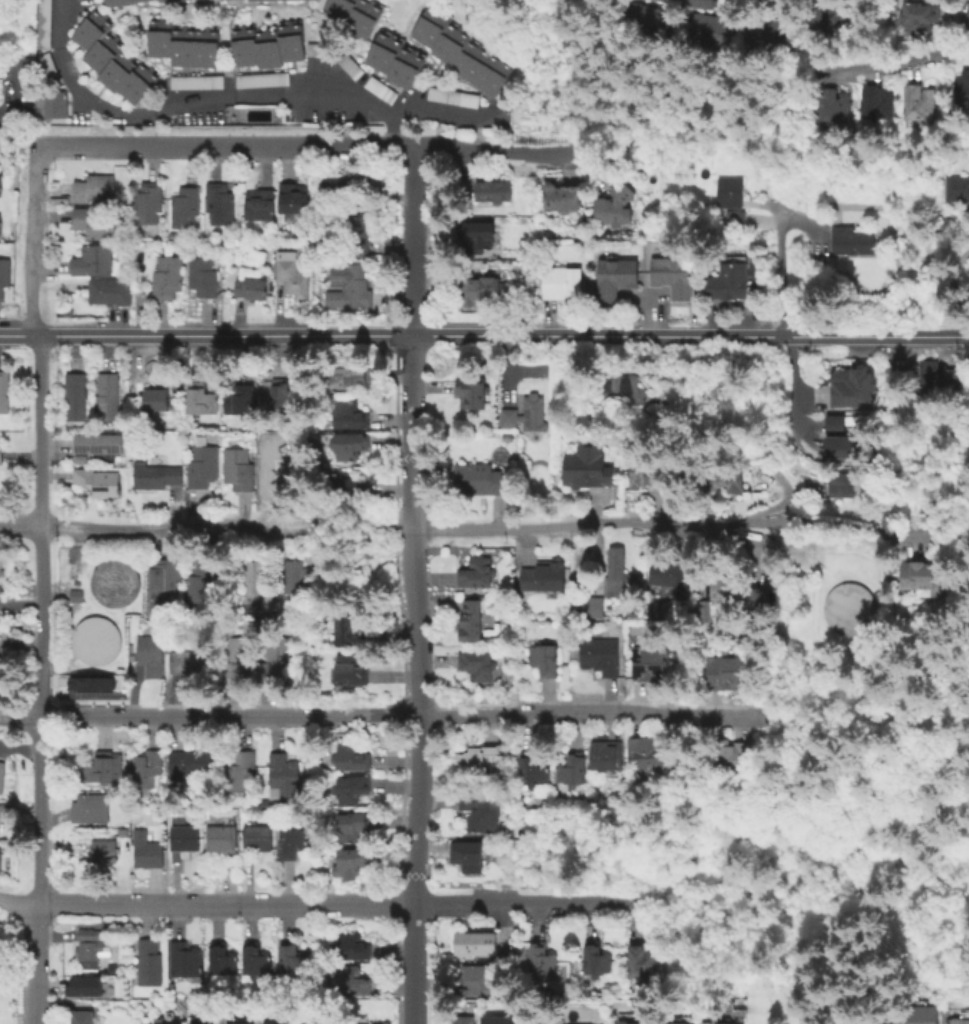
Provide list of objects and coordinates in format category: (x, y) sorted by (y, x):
building: (134, 0)
building: (161, 0)
building: (229, 0)
building: (670, 1)
building: (122, 2)
building: (768, 2)
building: (109, 3)
building: (698, 3)
building: (327, 7)
building: (340, 10)
building: (842, 13)
building: (353, 15)
building: (631, 15)
building: (832, 15)
building: (822, 17)
building: (919, 17)
building: (812, 18)
building: (365, 19)
building: (641, 19)
building: (421, 21)
building: (650, 21)
building: (41, 23)
building: (661, 23)
building: (84, 25)
building: (695, 26)
building: (432, 28)
building: (706, 29)
building: (715, 30)
building: (726, 31)
building: (93, 33)
building: (785, 33)
building: (754, 35)
building: (764, 35)
building: (774, 35)
building: (152, 37)
building: (163, 38)
building: (441, 39)
building: (296, 41)
building: (284, 42)
building: (248, 45)
building: (237, 46)
building: (453, 46)
building: (375, 47)
building: (96, 48)
building: (175, 48)
building: (186, 48)
building: (261, 48)
building: (272, 48)
building: (198, 49)
building: (210, 49)
building: (315, 49)
building: (387, 53)
building: (105, 55)
building: (463, 56)
road: (904, 62)
building: (397, 63)
building: (474, 64)
building: (44, 65)
building: (110, 66)
building: (350, 67)
building: (409, 69)
building: (485, 70)
building: (119, 74)
building: (498, 77)
building: (130, 78)
building: (259, 79)
building: (194, 82)
building: (139, 86)
building: (378, 89)
road: (7, 92)
building: (962, 93)
building: (449, 96)
road: (199, 100)
building: (918, 101)
building: (834, 106)
building: (878, 107)
building: (57, 108)
road: (433, 111)
road: (306, 148)
road: (409, 182)
building: (1, 184)
building: (94, 187)
building: (335, 188)
building: (957, 188)
building: (491, 190)
building: (731, 194)
building: (293, 195)
building: (557, 195)
building: (219, 202)
building: (259, 202)
building: (148, 203)
building: (613, 205)
building: (185, 206)
building: (737, 220)
building: (93, 223)
building: (357, 234)
building: (474, 235)
road: (32, 241)
building: (853, 243)
building: (91, 259)
road: (780, 271)
building: (4, 273)
building: (292, 273)
road: (411, 275)
building: (613, 275)
building: (670, 275)
building: (203, 276)
building: (167, 277)
building: (727, 280)
building: (559, 282)
building: (350, 285)
building: (253, 287)
building: (483, 289)
building: (109, 290)
road: (484, 334)
building: (346, 375)
building: (935, 375)
road: (792, 382)
building: (849, 386)
building: (622, 389)
building: (3, 391)
building: (472, 393)
building: (285, 394)
building: (75, 395)
building: (107, 395)
building: (203, 398)
building: (240, 399)
building: (154, 404)
building: (350, 414)
building: (534, 415)
building: (837, 437)
building: (97, 441)
building: (351, 444)
building: (0, 453)
building: (585, 465)
building: (202, 467)
building: (298, 470)
building: (642, 470)
building: (238, 471)
building: (155, 474)
building: (485, 479)
building: (725, 479)
building: (96, 481)
building: (841, 485)
building: (348, 486)
road: (662, 524)
road: (205, 529)
building: (478, 572)
building: (256, 575)
building: (670, 575)
building: (165, 576)
building: (300, 576)
building: (542, 576)
building: (618, 577)
building: (920, 577)
building: (202, 580)
building: (112, 582)
storage tank: (112, 582)
building: (721, 587)
building: (73, 593)
building: (755, 597)
building: (590, 606)
building: (848, 608)
storage tank: (848, 608)
building: (703, 610)
building: (470, 620)
building: (350, 626)
building: (94, 640)
storage tank: (94, 640)
building: (152, 654)
building: (277, 654)
building: (240, 655)
building: (600, 655)
building: (545, 658)
building: (647, 659)
building: (195, 660)
building: (478, 665)
building: (351, 668)
building: (727, 673)
road: (37, 678)
road: (418, 678)
building: (90, 683)
road: (589, 713)
road: (209, 715)
road: (864, 718)
building: (603, 753)
building: (349, 755)
building: (733, 757)
building: (649, 758)
building: (483, 759)
building: (192, 762)
building: (100, 767)
building: (148, 767)
building: (239, 770)
building: (533, 772)
building: (570, 772)
building: (1, 774)
building: (286, 775)
building: (351, 788)
building: (92, 807)
building: (6, 809)
building: (483, 810)
building: (351, 825)
building: (185, 836)
building: (257, 836)
building: (221, 837)
building: (291, 842)
building: (147, 849)
building: (104, 850)
building: (467, 856)
building: (350, 859)
road: (18, 904)
road: (334, 904)
road: (850, 917)
building: (88, 934)
building: (472, 943)
building: (350, 944)
building: (1, 949)
building: (89, 952)
building: (222, 957)
building: (540, 957)
building: (185, 958)
building: (292, 958)
building: (594, 959)
building: (148, 961)
building: (255, 961)
building: (639, 962)
building: (474, 978)
building: (350, 979)
building: (81, 985)
building: (919, 1014)
building: (958, 1016)
building: (81, 1017)
building: (849, 1017)
building: (460, 1019)
building: (534, 1019)
building: (495, 1020)
building: (631, 1022)
building: (177, 1023)
building: (199, 1023)
building: (232, 1023)
building: (274, 1023)
building: (307, 1023)
building: (675, 1023)
building: (702, 1023)
building: (723, 1023)
building: (835, 1023)

